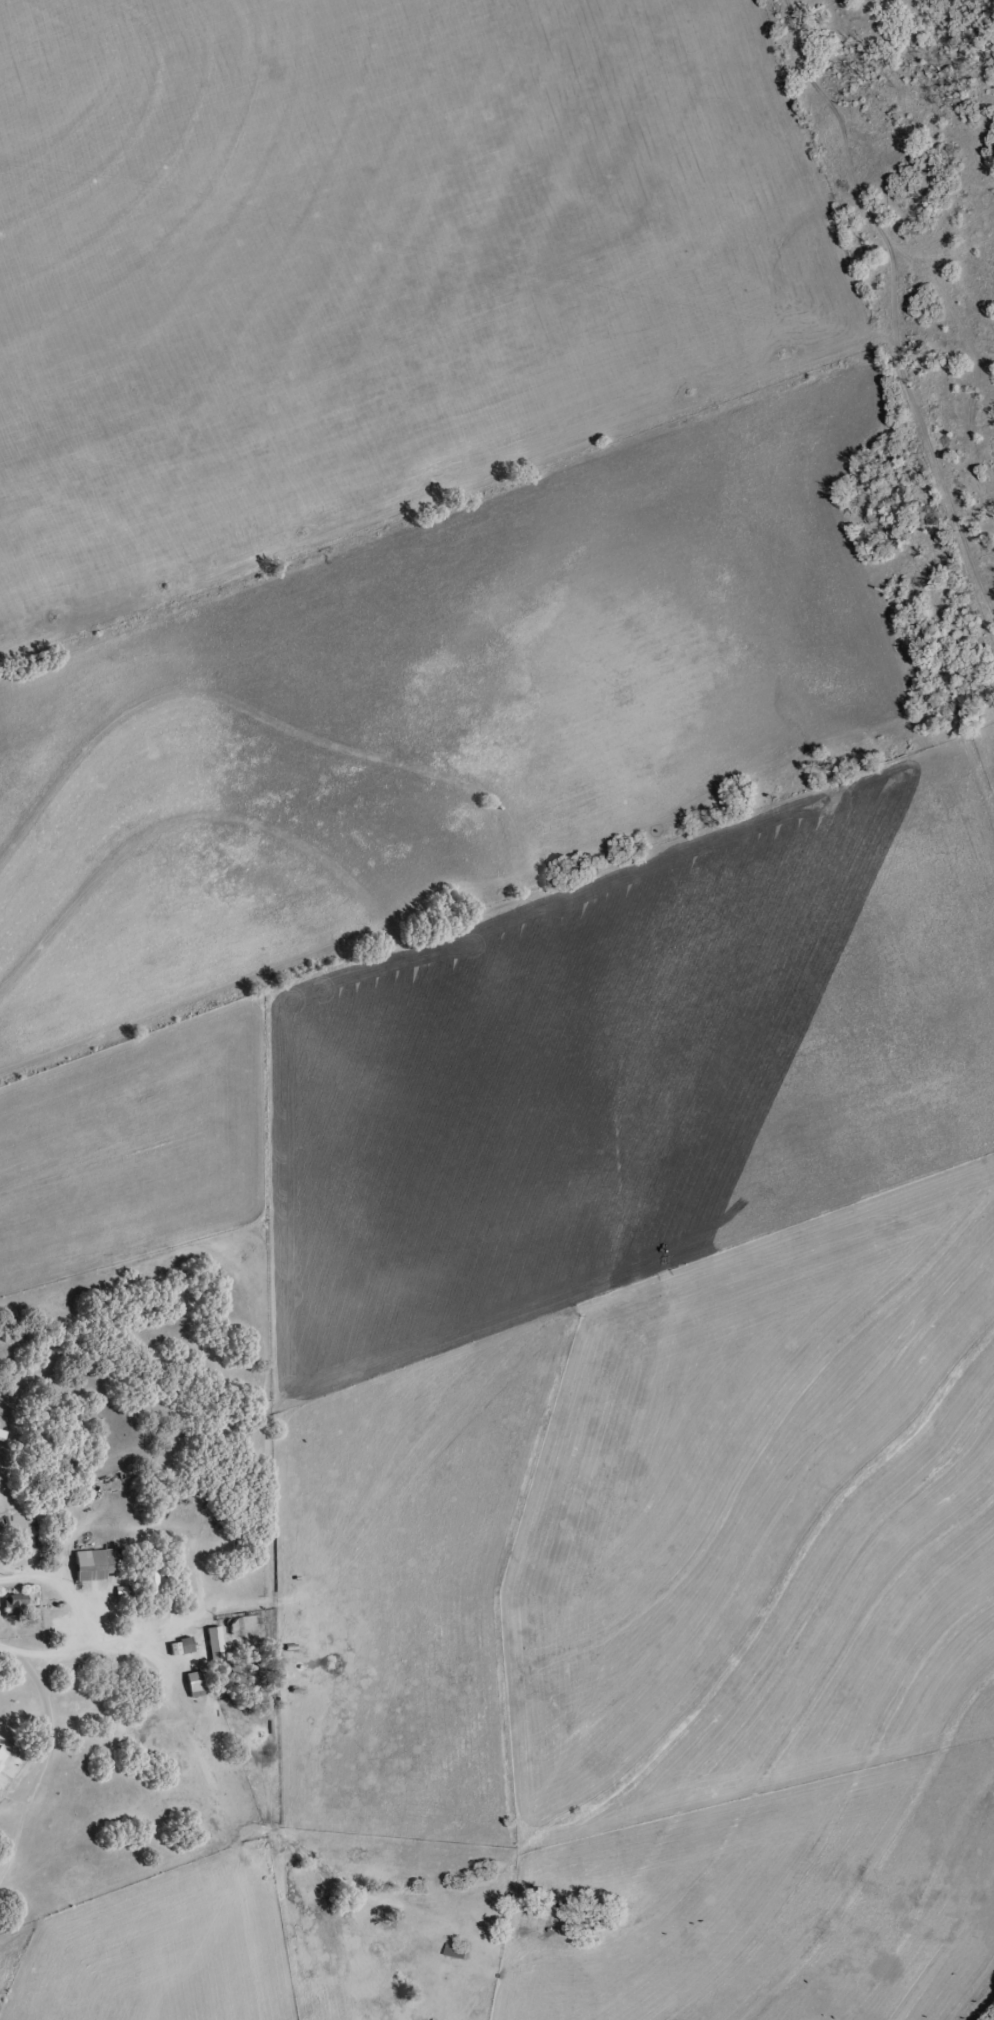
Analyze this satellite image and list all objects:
building: (95, 1563)
building: (14, 1604)
building: (214, 1643)
road: (7, 1673)
building: (193, 1683)
building: (1, 1757)
building: (454, 1950)

